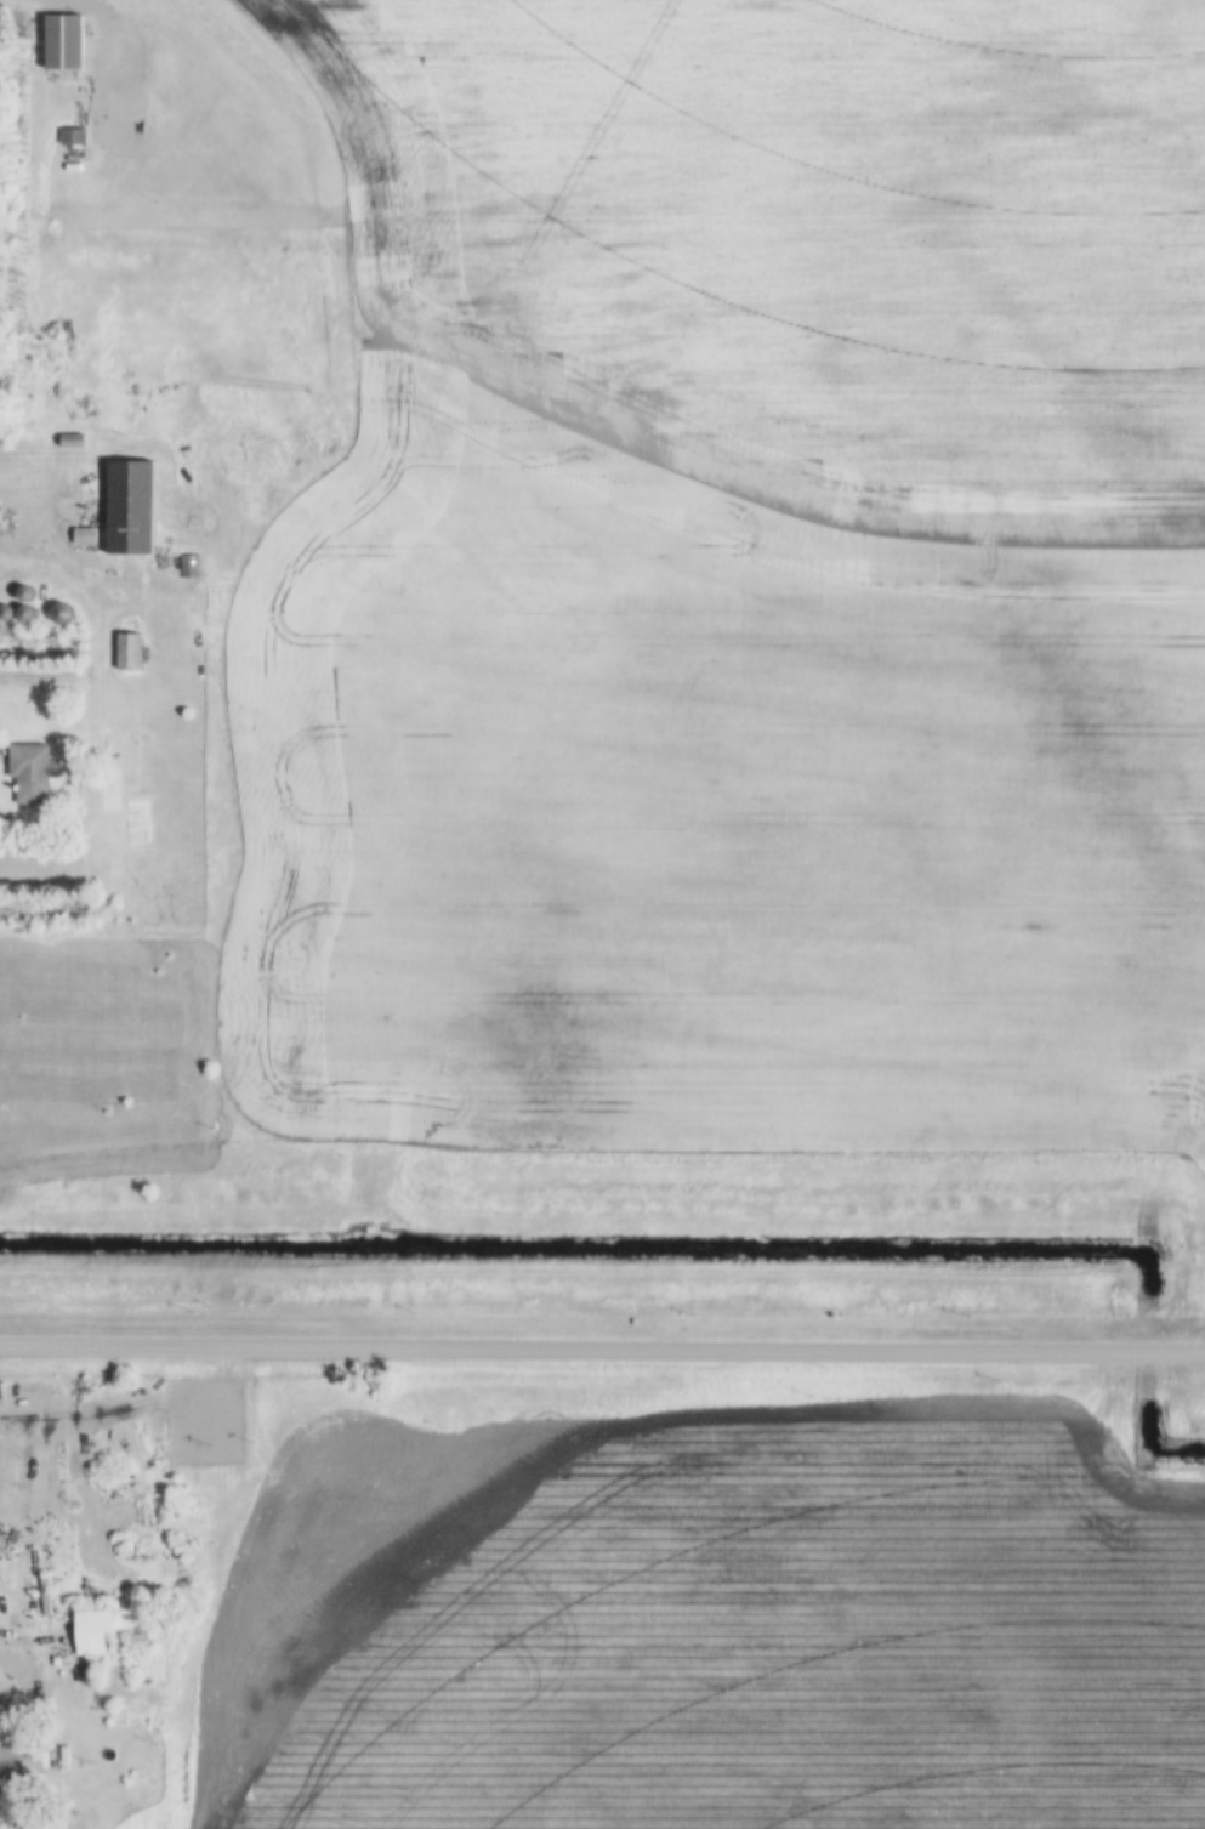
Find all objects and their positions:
building: (67, 45)
road: (119, 58)
building: (131, 510)
building: (29, 617)
building: (61, 620)
building: (129, 653)
building: (33, 773)
road: (602, 1351)
building: (193, 1411)
power substation: (201, 1422)
building: (92, 1634)
building: (141, 1642)
road: (24, 1670)
building: (23, 1762)

